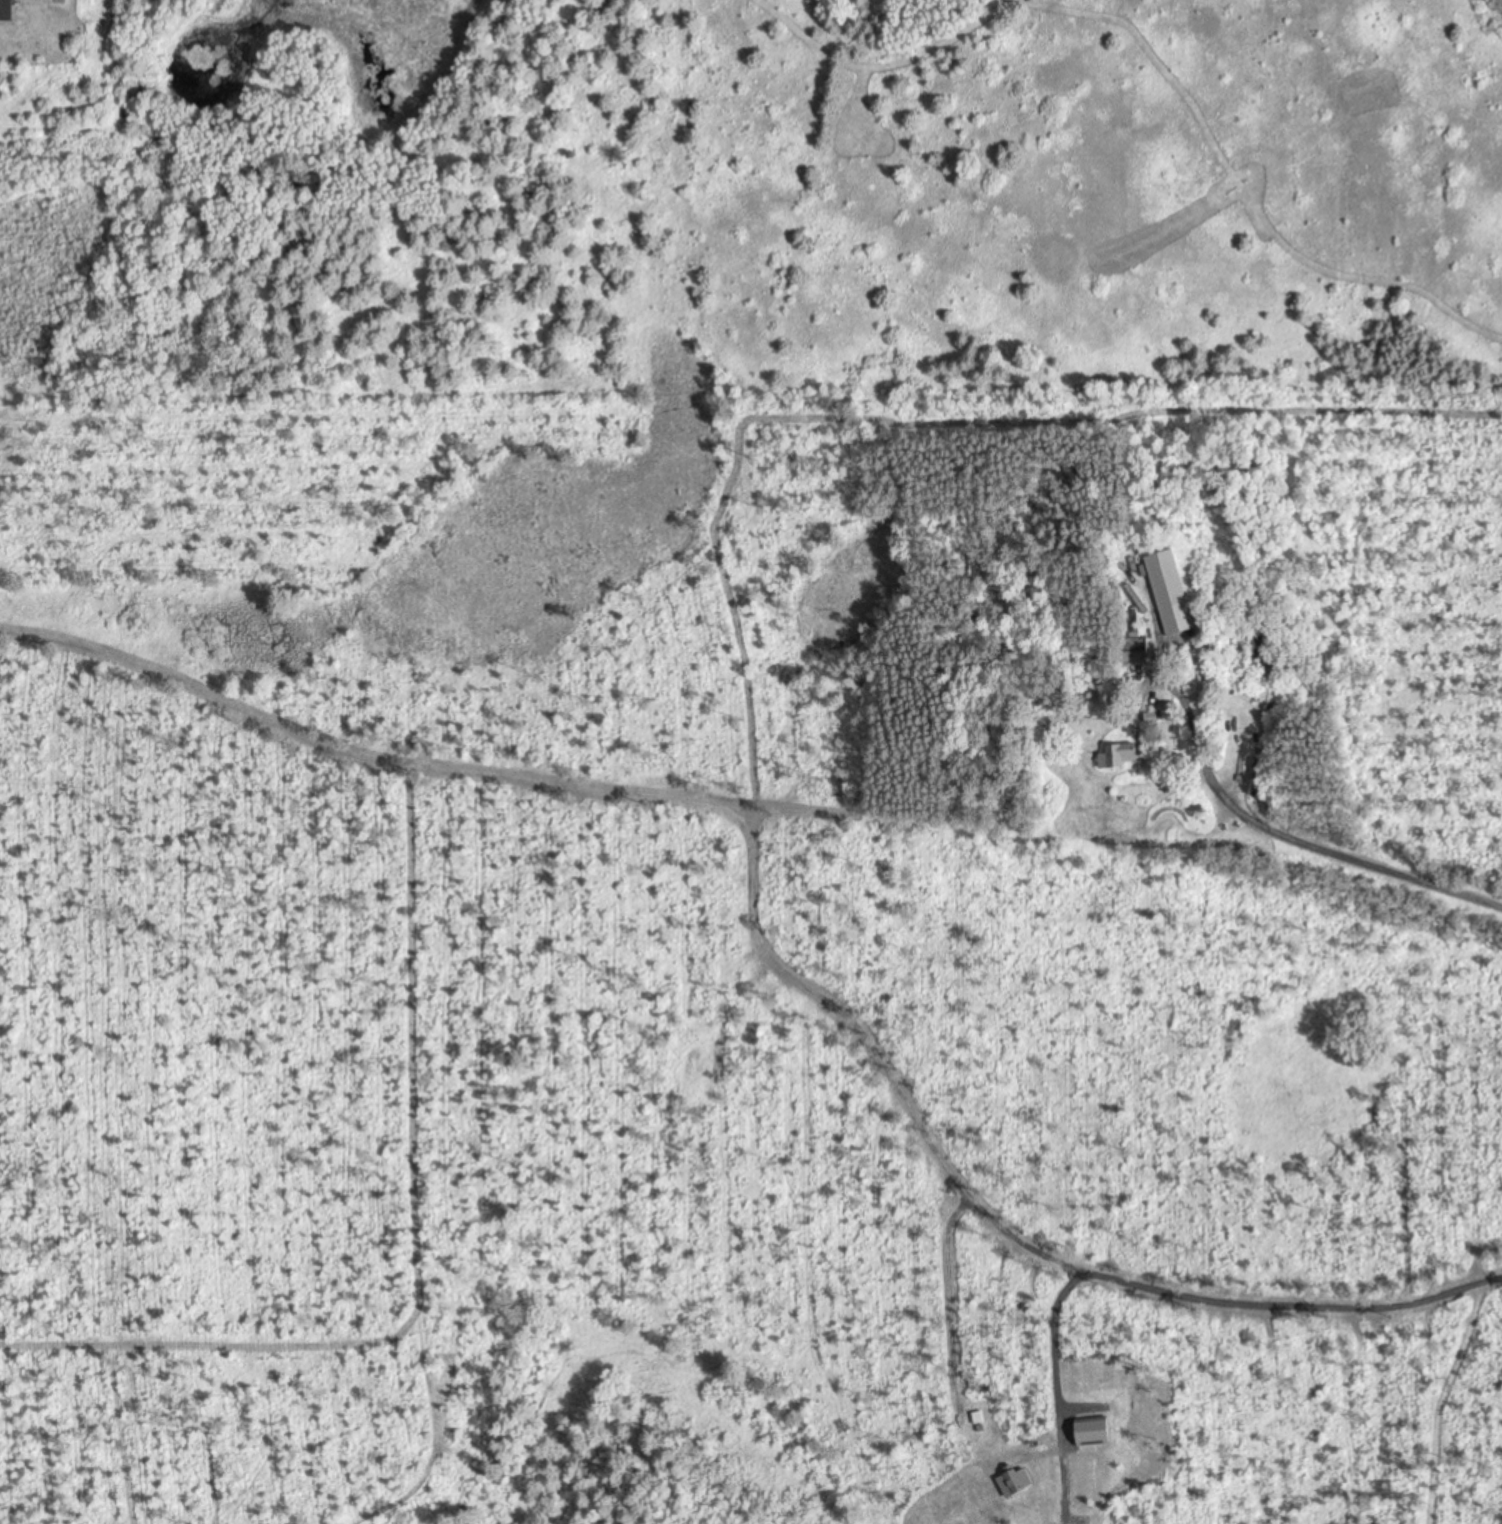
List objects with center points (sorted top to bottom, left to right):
building: (8, 10)
building: (1169, 576)
building: (1127, 753)
building: (1200, 809)

